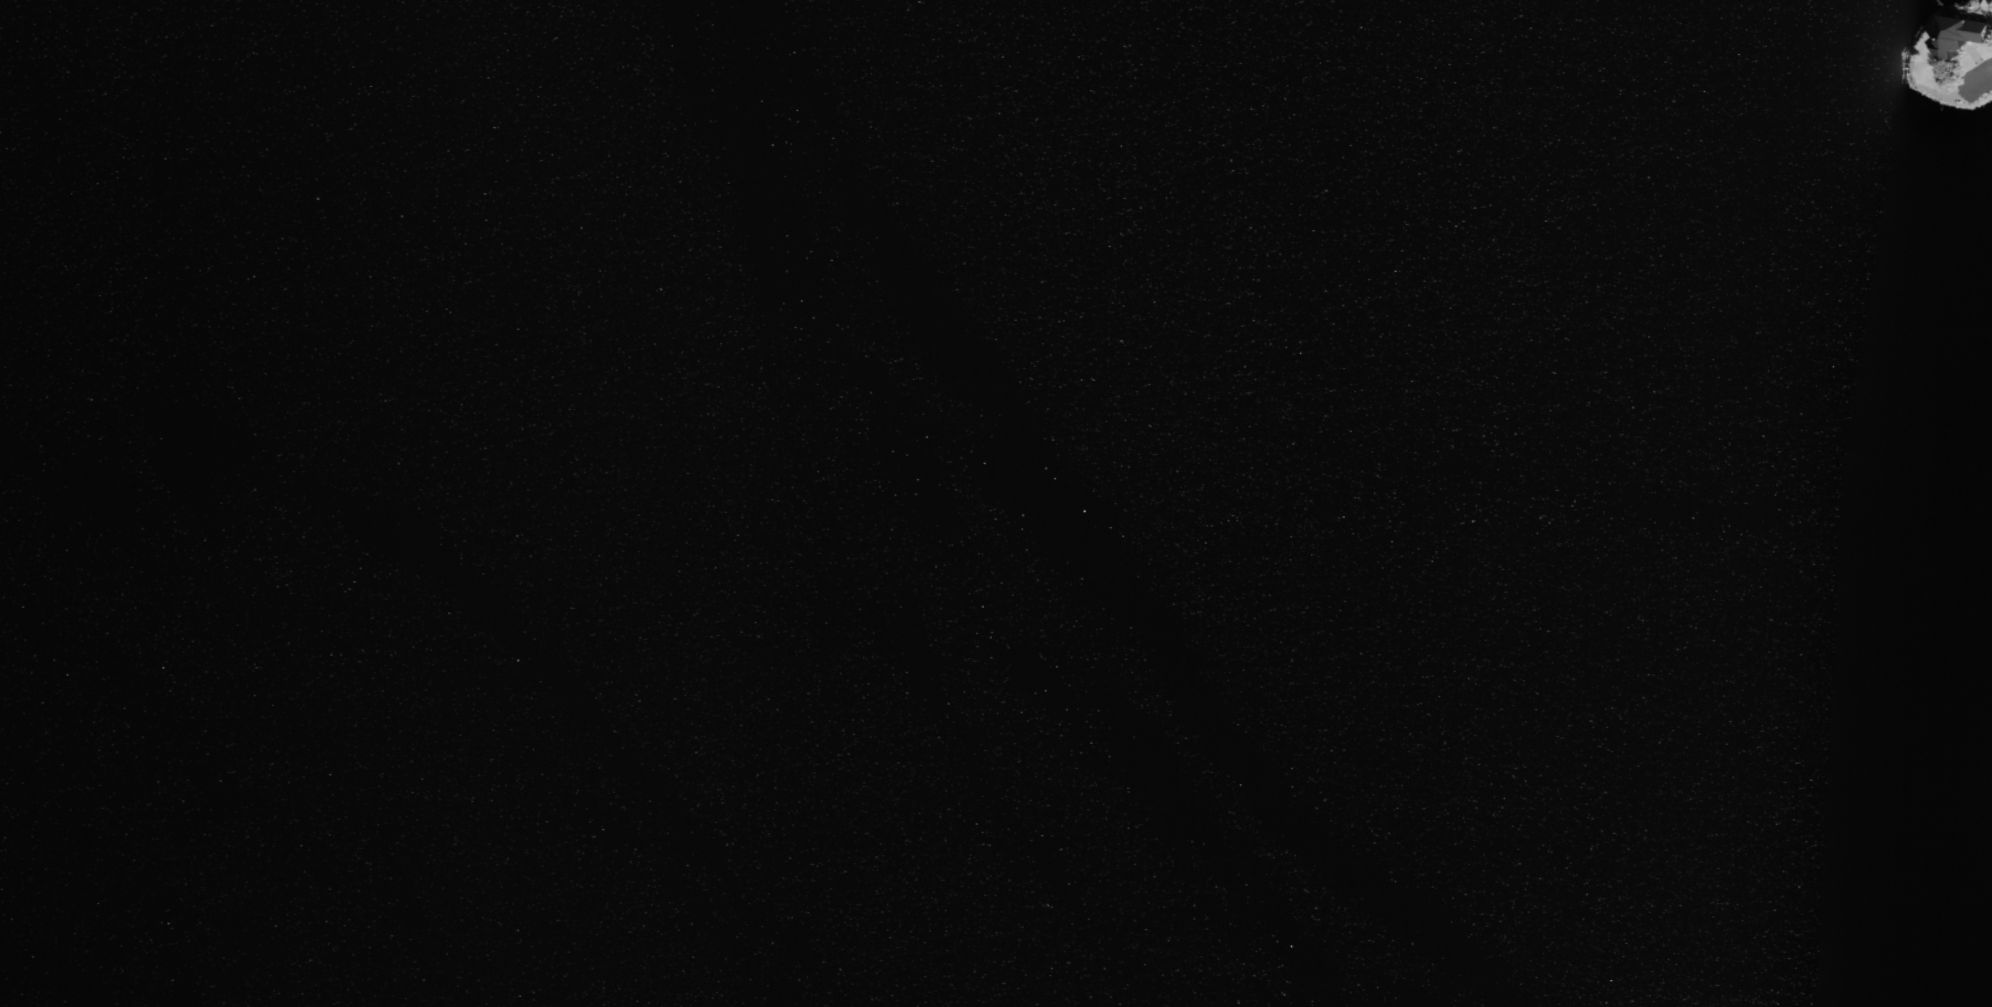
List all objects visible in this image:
building: (1961, 34)

